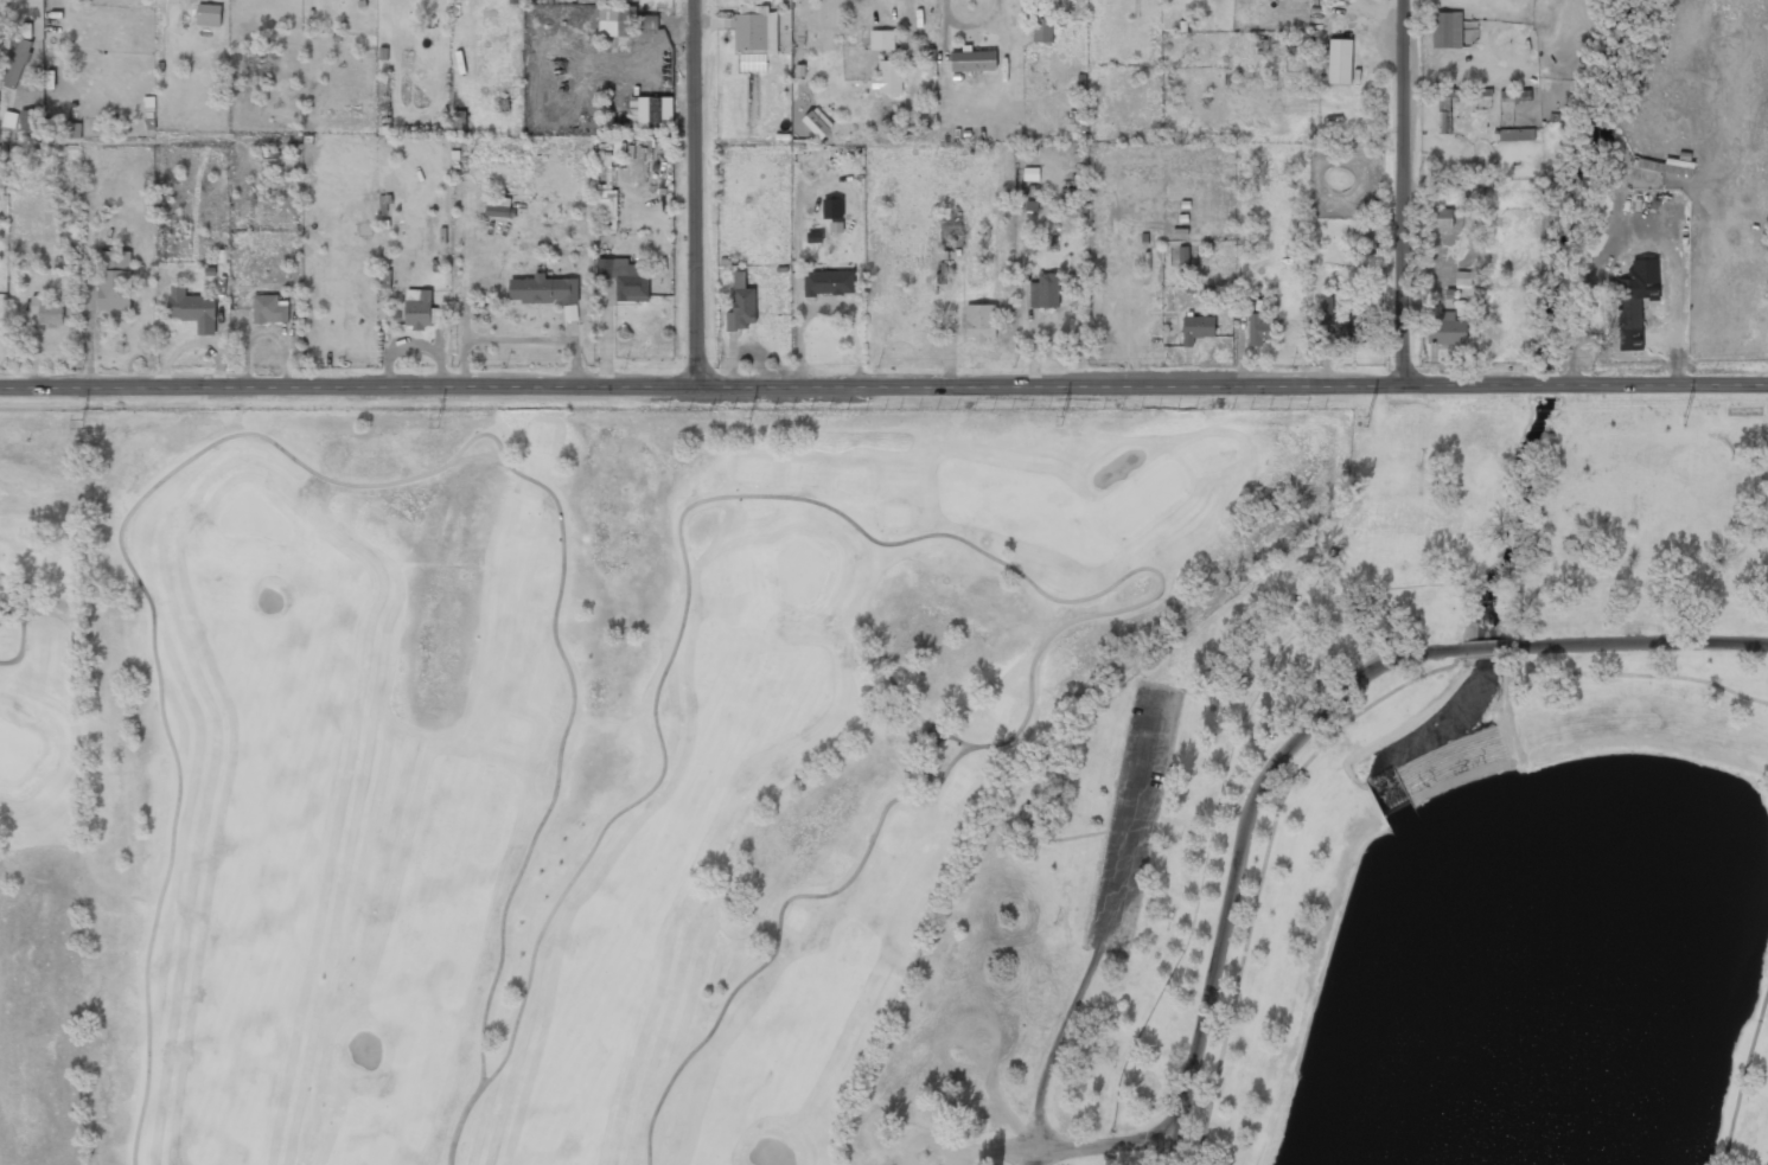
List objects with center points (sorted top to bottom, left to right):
building: (209, 14)
building: (617, 21)
building: (489, 26)
building: (1042, 30)
building: (1445, 31)
building: (755, 32)
building: (882, 39)
building: (974, 62)
building: (1340, 63)
building: (14, 64)
building: (889, 77)
building: (1519, 95)
building: (647, 111)
building: (1444, 115)
building: (30, 120)
building: (817, 122)
building: (69, 129)
building: (1517, 135)
building: (1662, 167)
building: (1030, 173)
road: (1399, 192)
road: (700, 193)
building: (498, 211)
building: (1440, 218)
building: (625, 280)
building: (114, 282)
building: (829, 284)
building: (542, 292)
building: (1043, 293)
building: (740, 302)
building: (1629, 306)
building: (270, 309)
building: (417, 309)
building: (191, 311)
building: (47, 312)
building: (979, 324)
building: (1196, 327)
building: (1347, 327)
building: (1258, 329)
building: (1445, 329)
road: (883, 386)
power tower: (1059, 421)
power tower: (1684, 421)
power tower: (748, 422)
power tower: (1366, 422)
power tower: (438, 423)
power tower: (82, 424)
road: (315, 472)
road: (990, 556)
road: (11, 614)
road: (21, 628)
road: (1639, 644)
road: (1486, 648)
road: (1486, 655)
road: (1639, 674)
road: (932, 749)
park: (545, 750)
building: (1029, 813)
parking lot: (1130, 820)
park: (1392, 840)
road: (1239, 849)
road: (1263, 865)
road: (1108, 929)
road: (1742, 1075)
road: (1100, 1144)
road: (1027, 1158)

